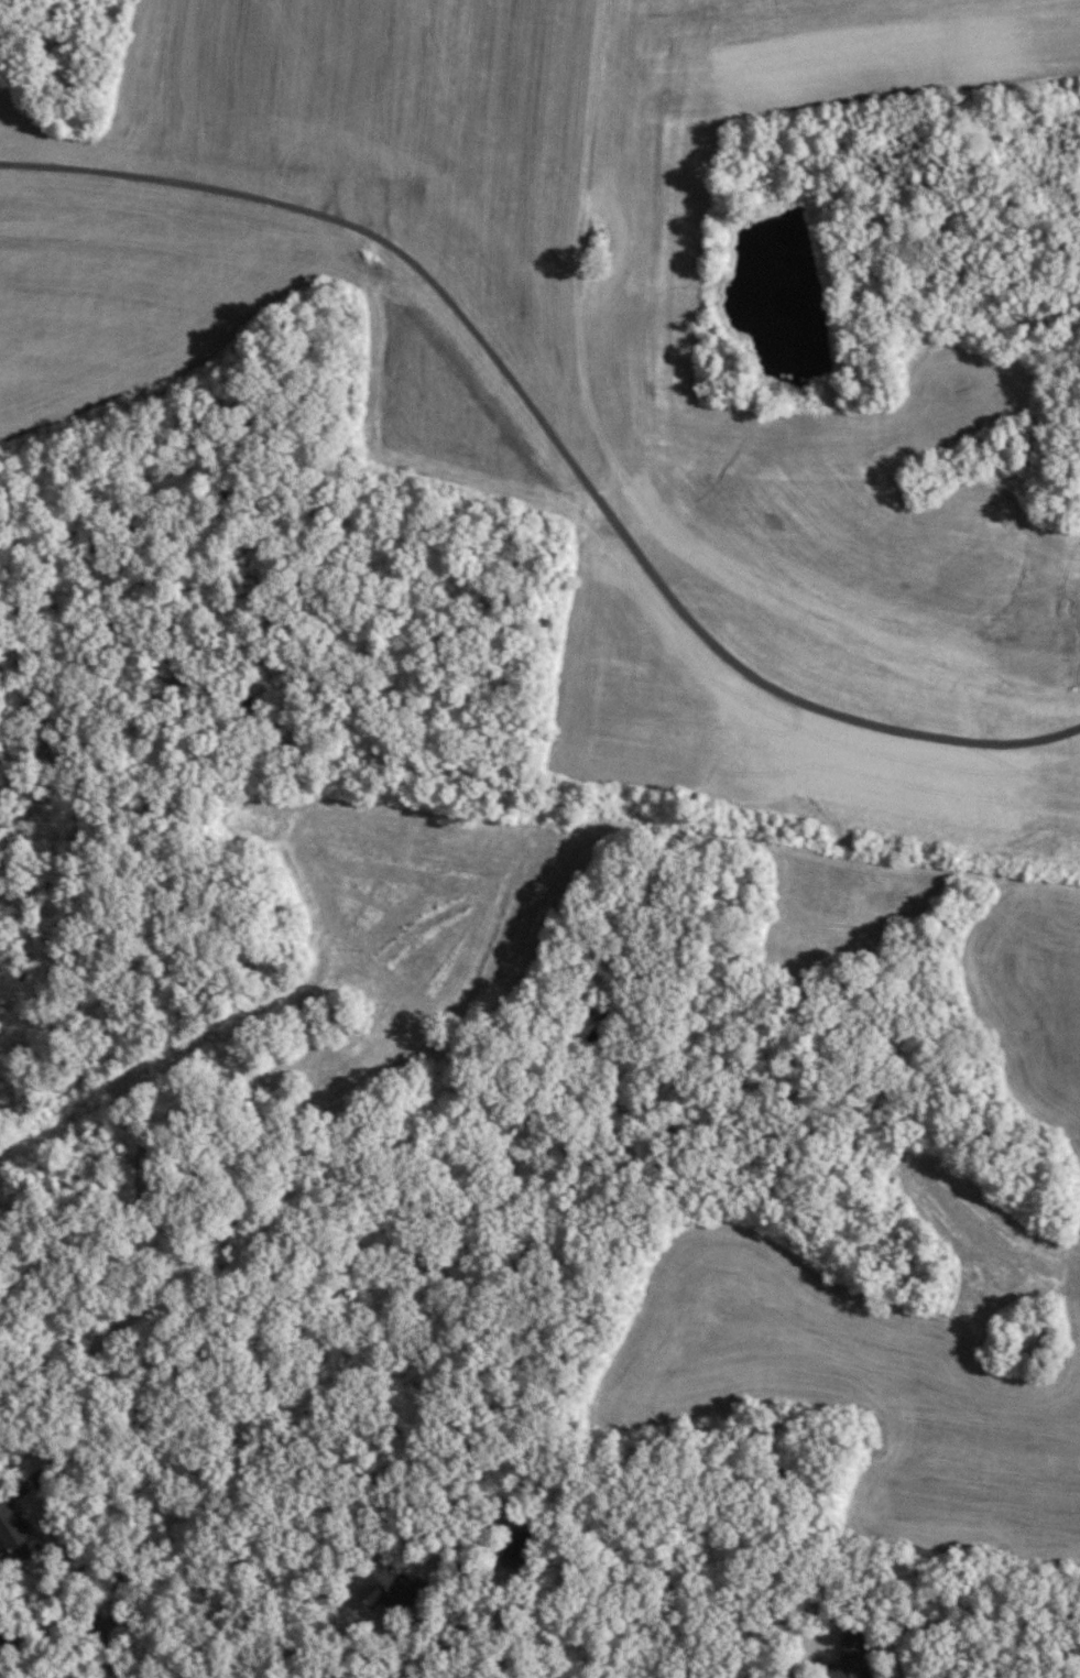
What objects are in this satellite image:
road: (552, 432)
road: (108, 1491)
road: (64, 1524)
building: (15, 1533)
building: (519, 1549)
building: (392, 1590)
road: (54, 1639)
road: (435, 1643)
road: (789, 1658)
building: (851, 1658)

